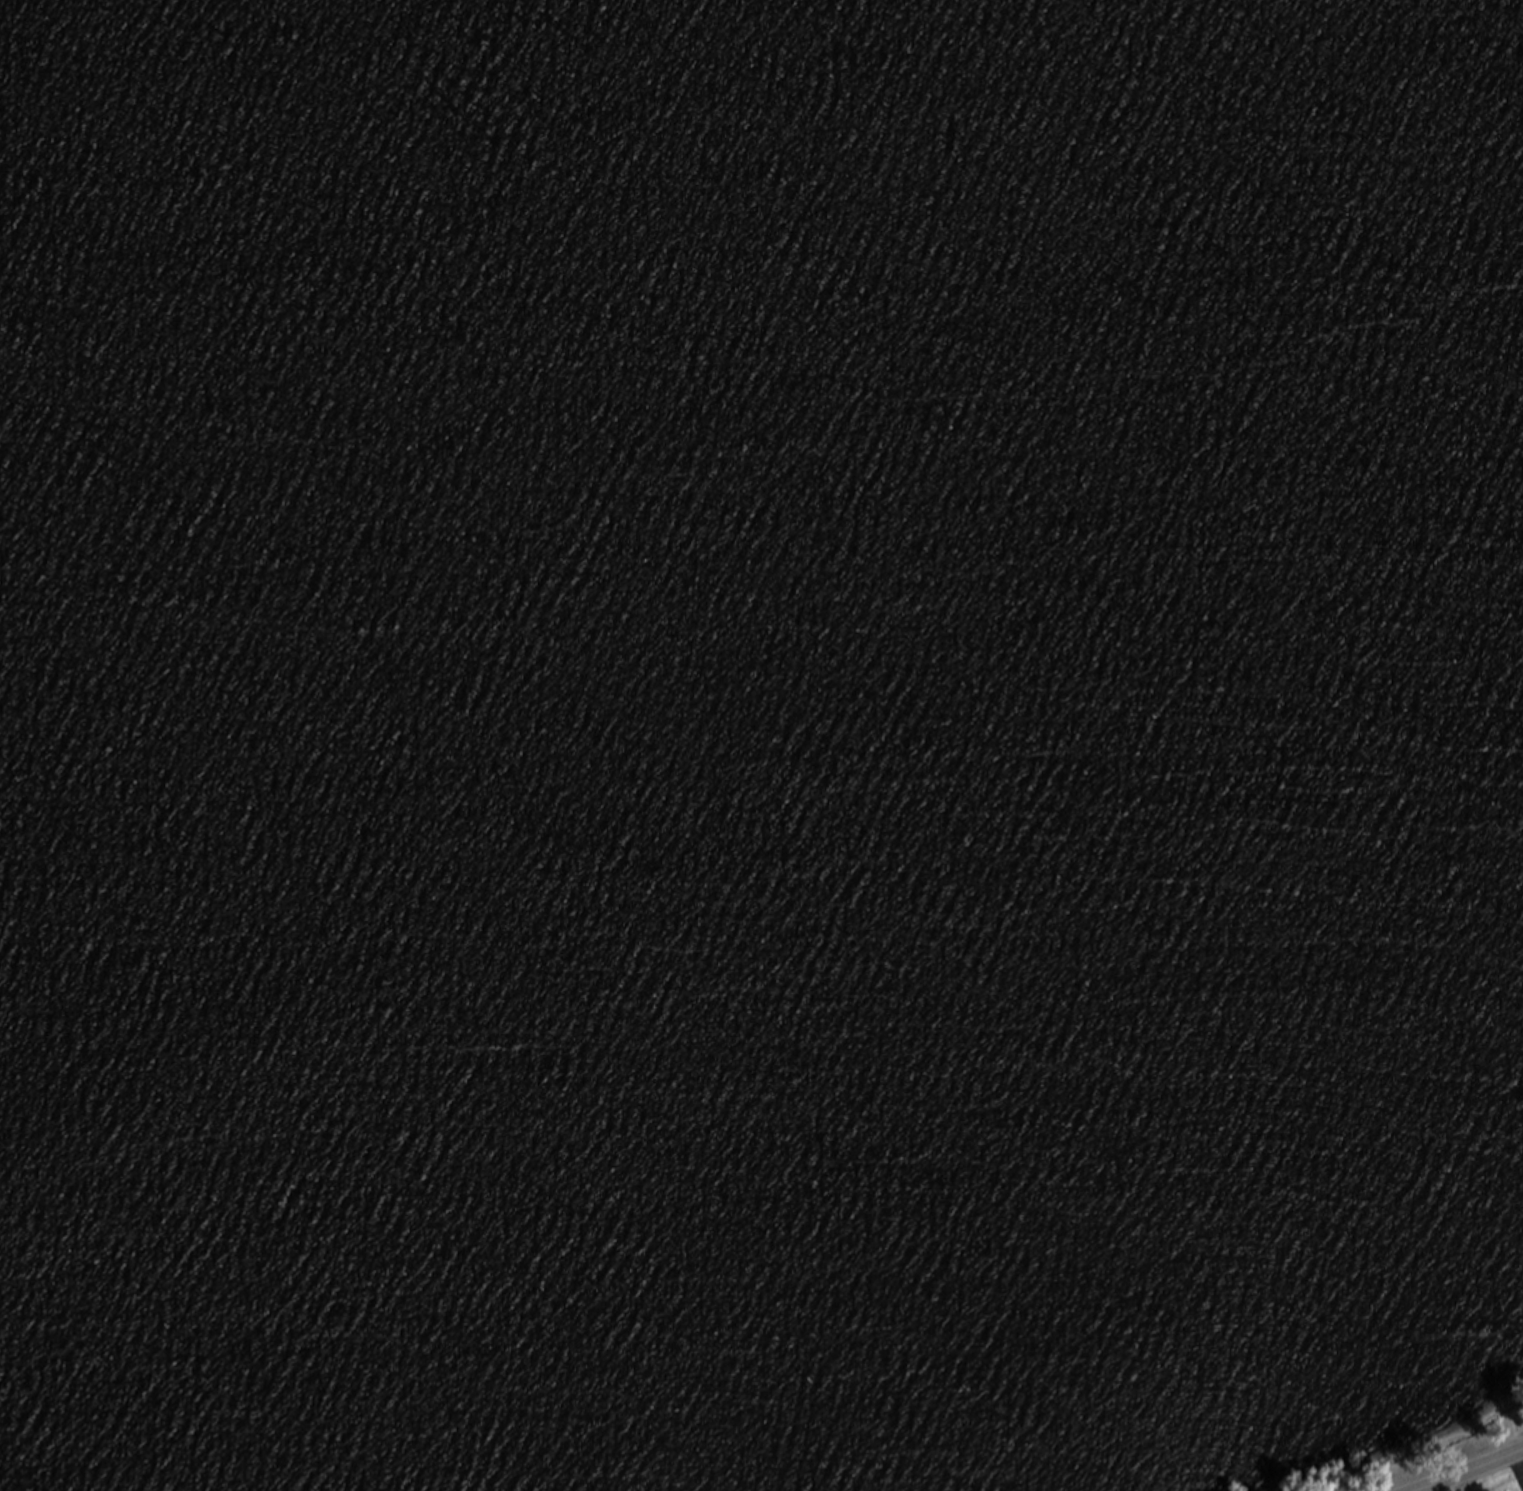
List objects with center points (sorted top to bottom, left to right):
building: (1372, 1471)
road: (1474, 1471)

